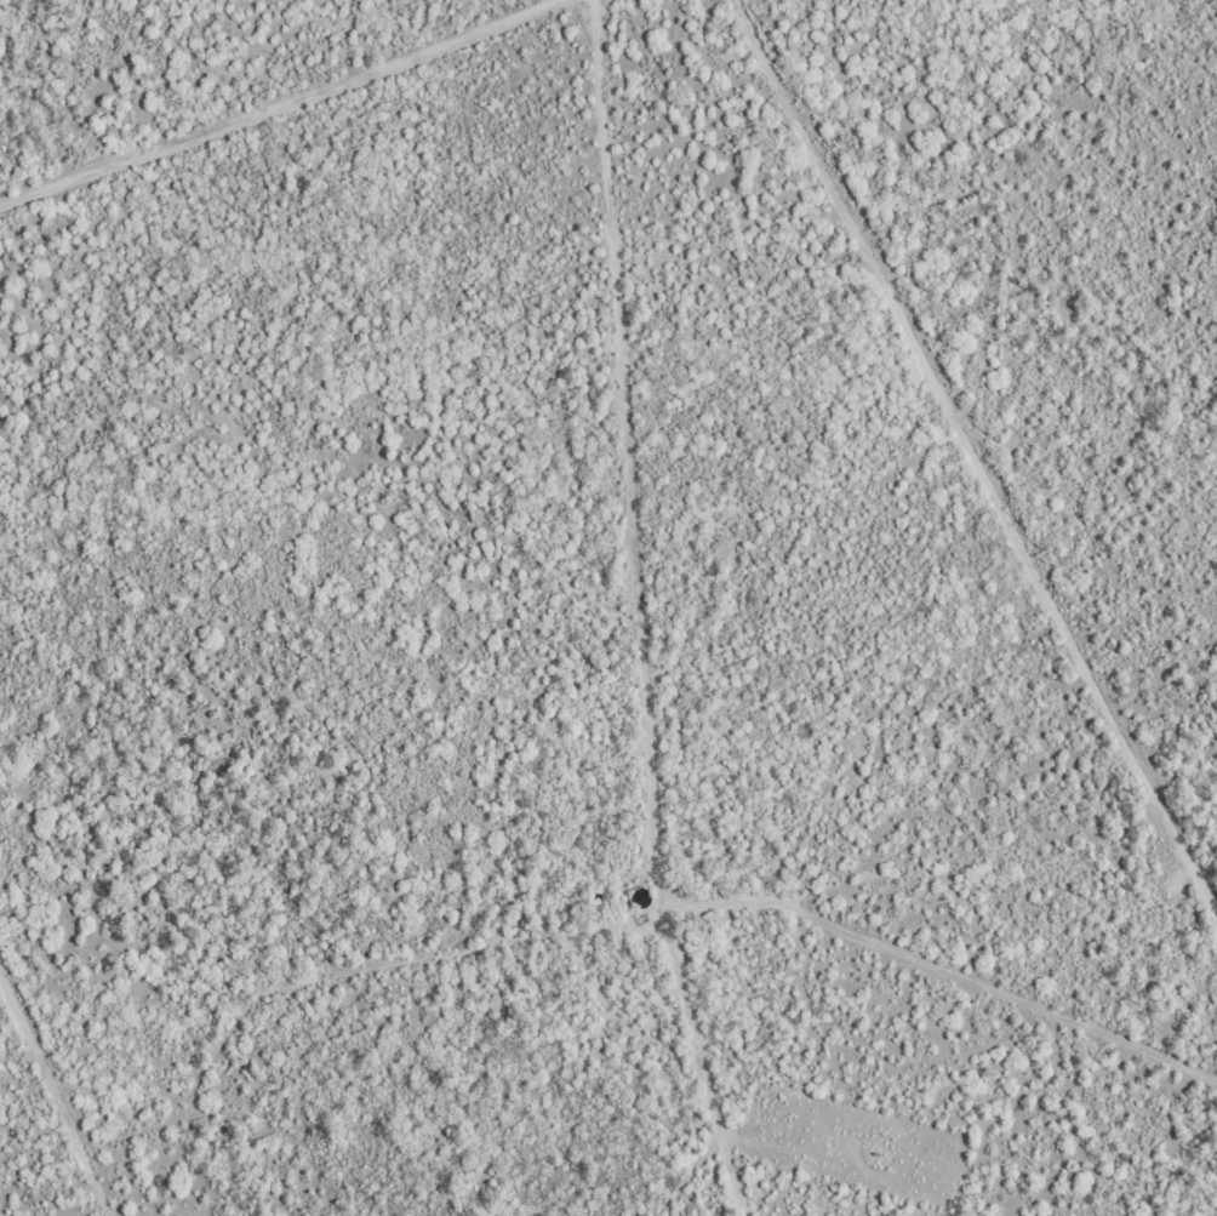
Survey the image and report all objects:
road: (939, 509)
road: (987, 965)
road: (72, 1095)

